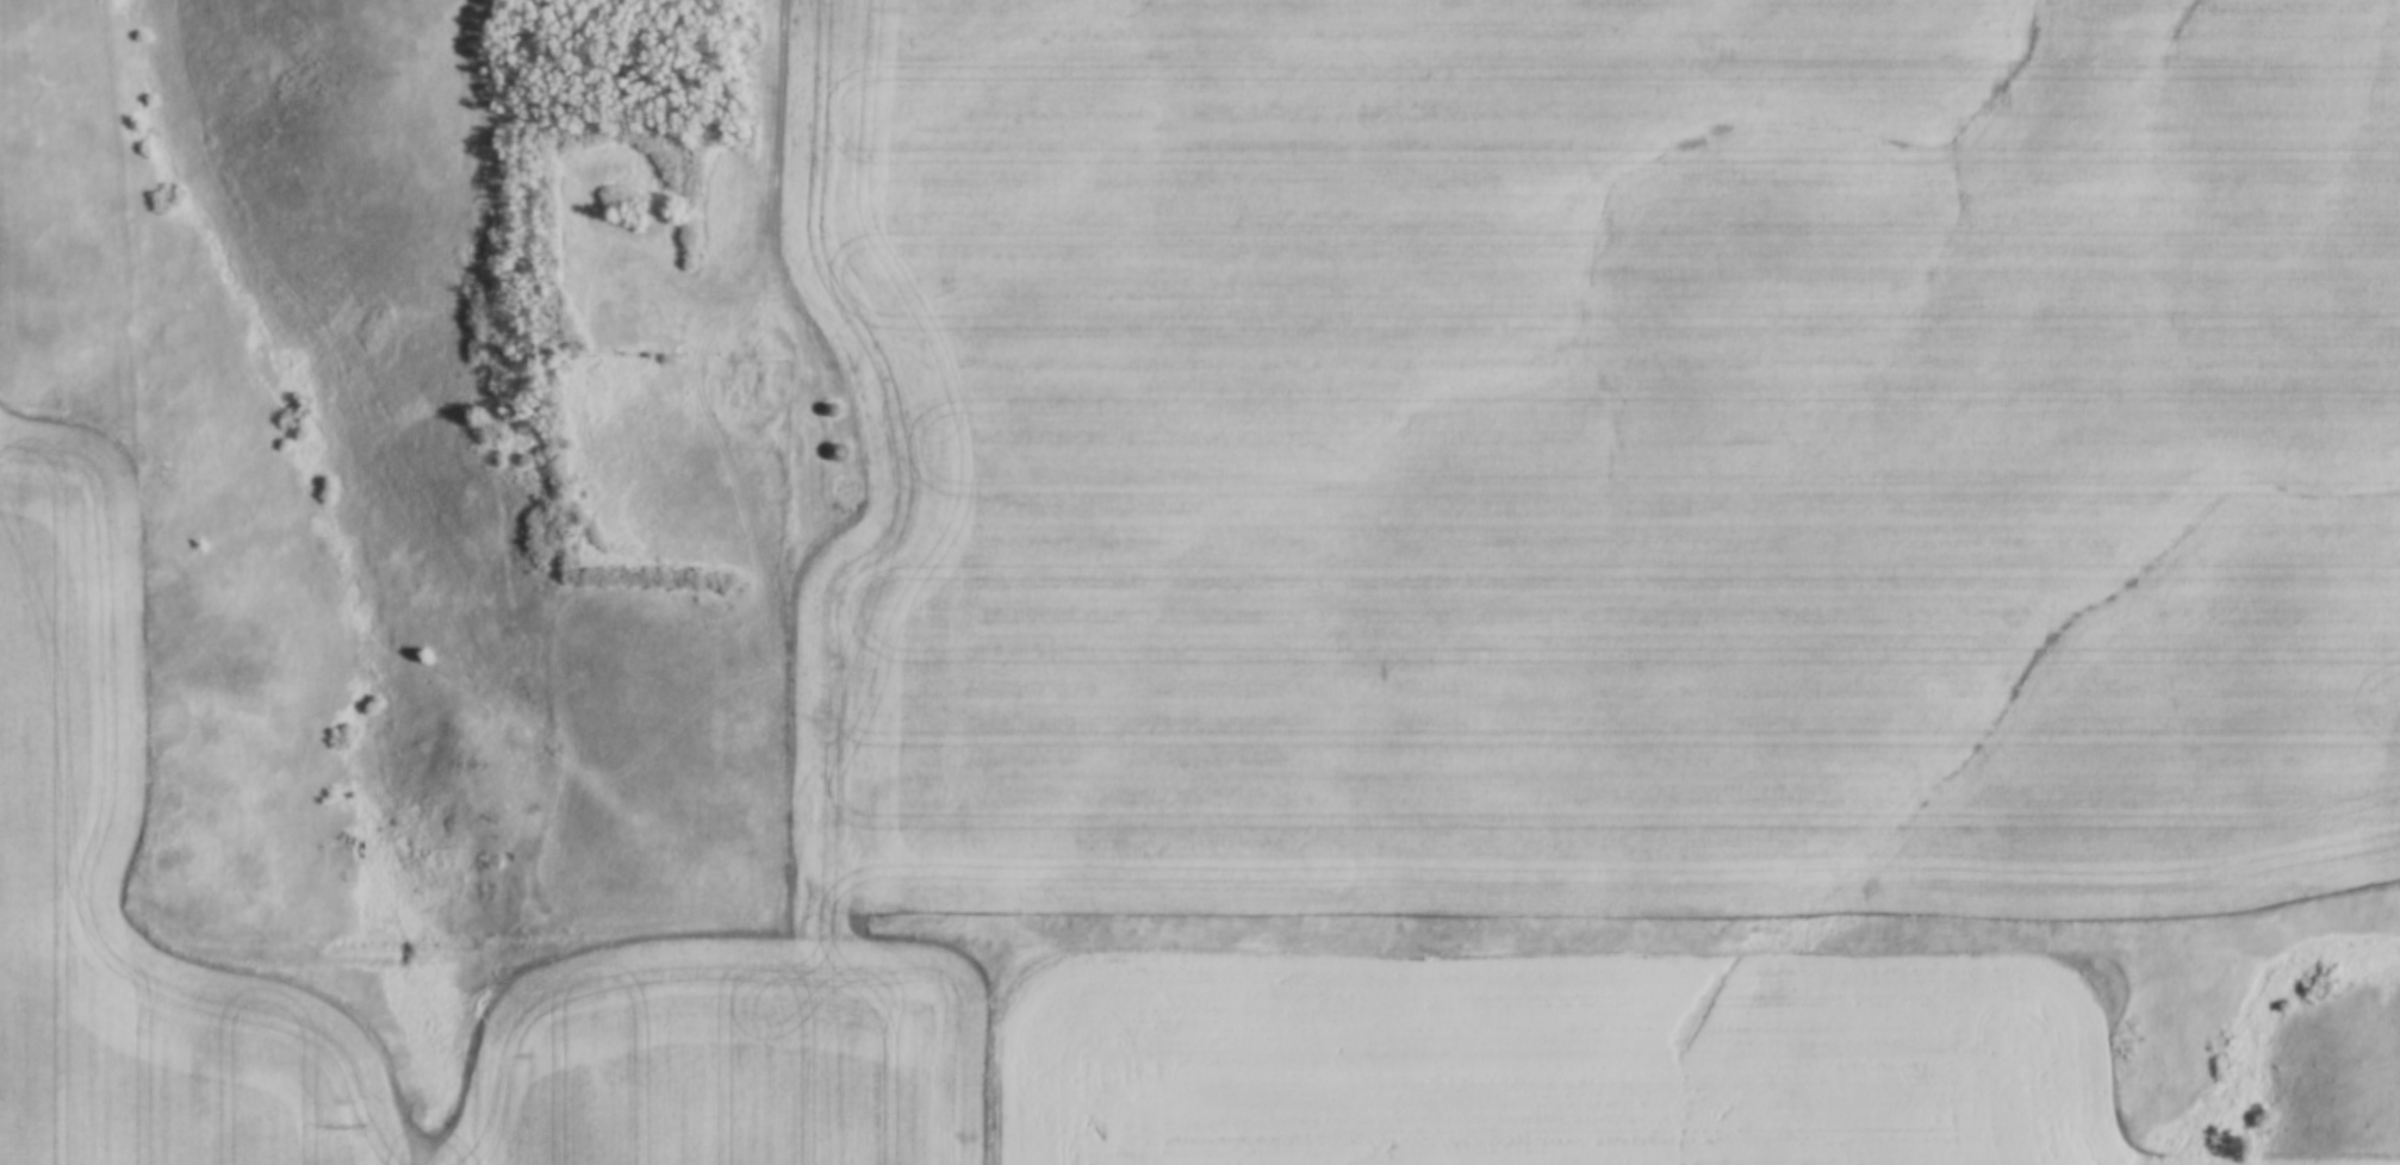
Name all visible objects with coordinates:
road: (776, 204)

